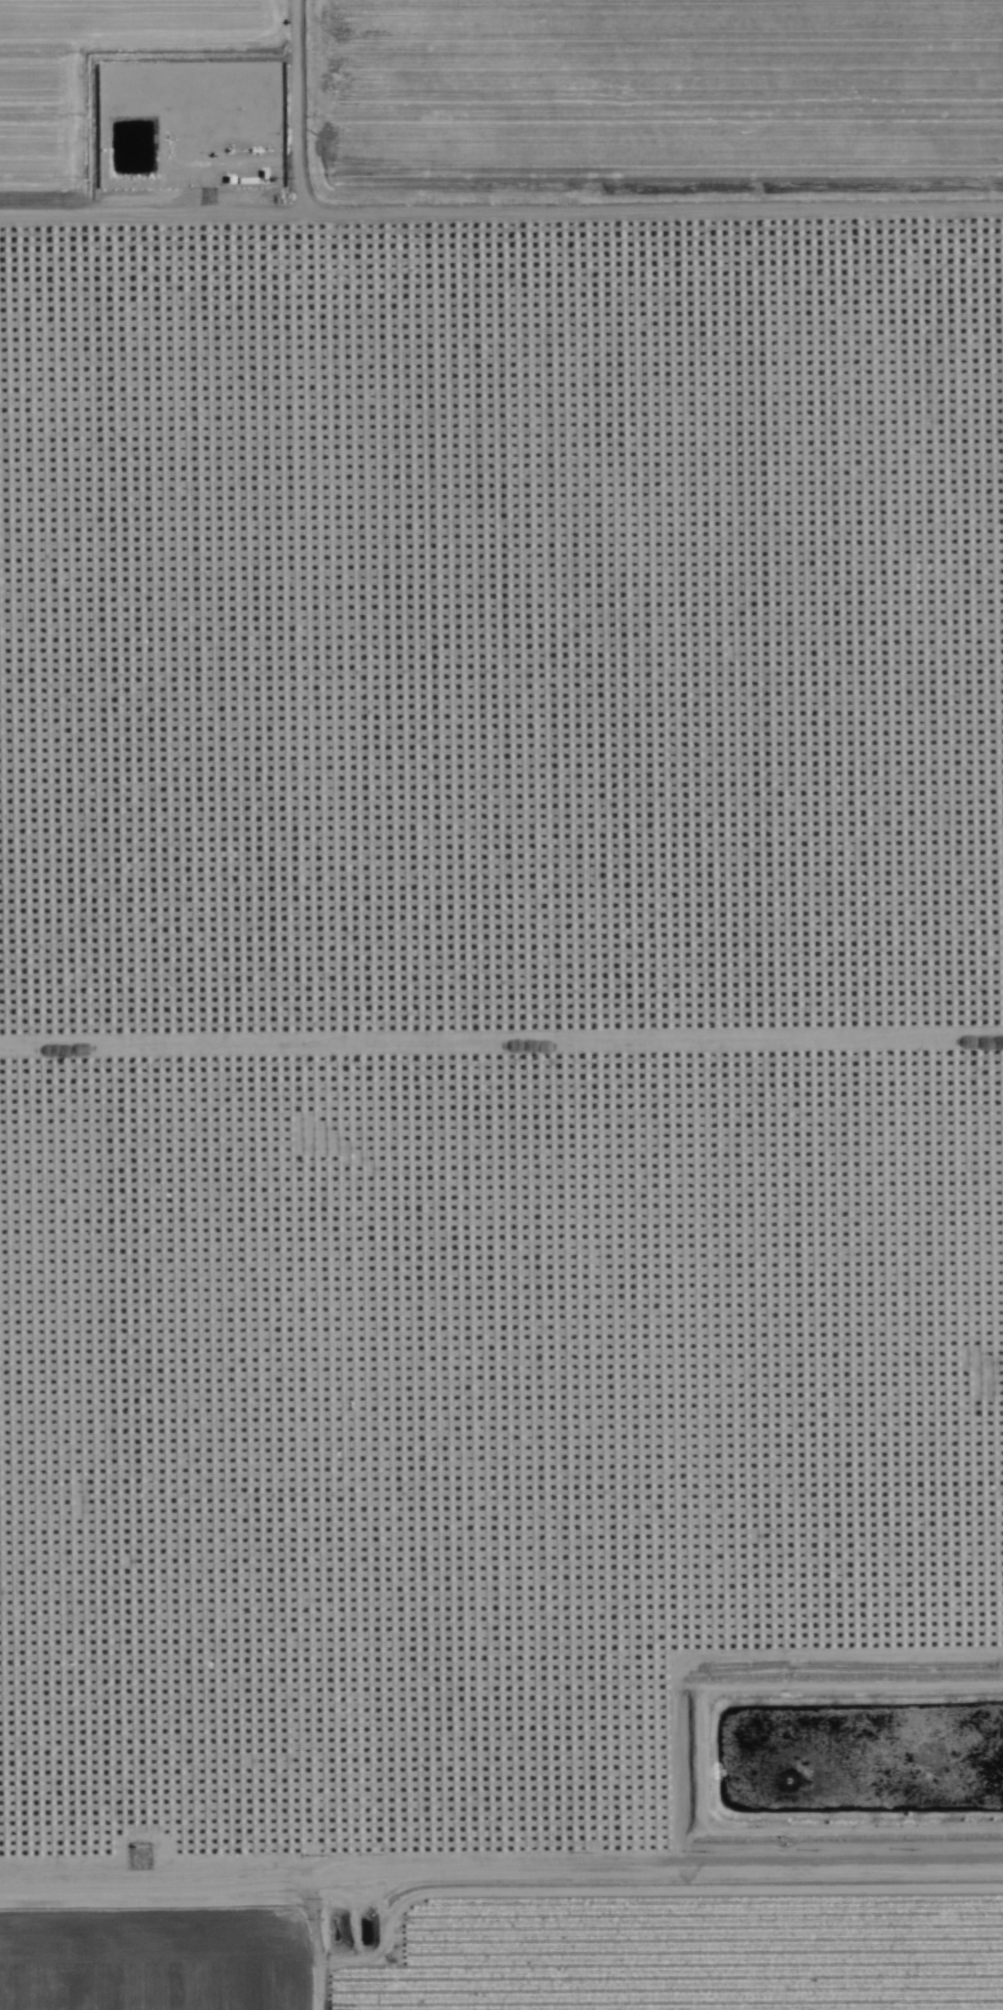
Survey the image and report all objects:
crop: (495, 92)
road: (501, 215)
wastewater plant: (751, 1767)
road: (501, 1858)
crop: (506, 1932)
wastewater plant: (346, 1934)

